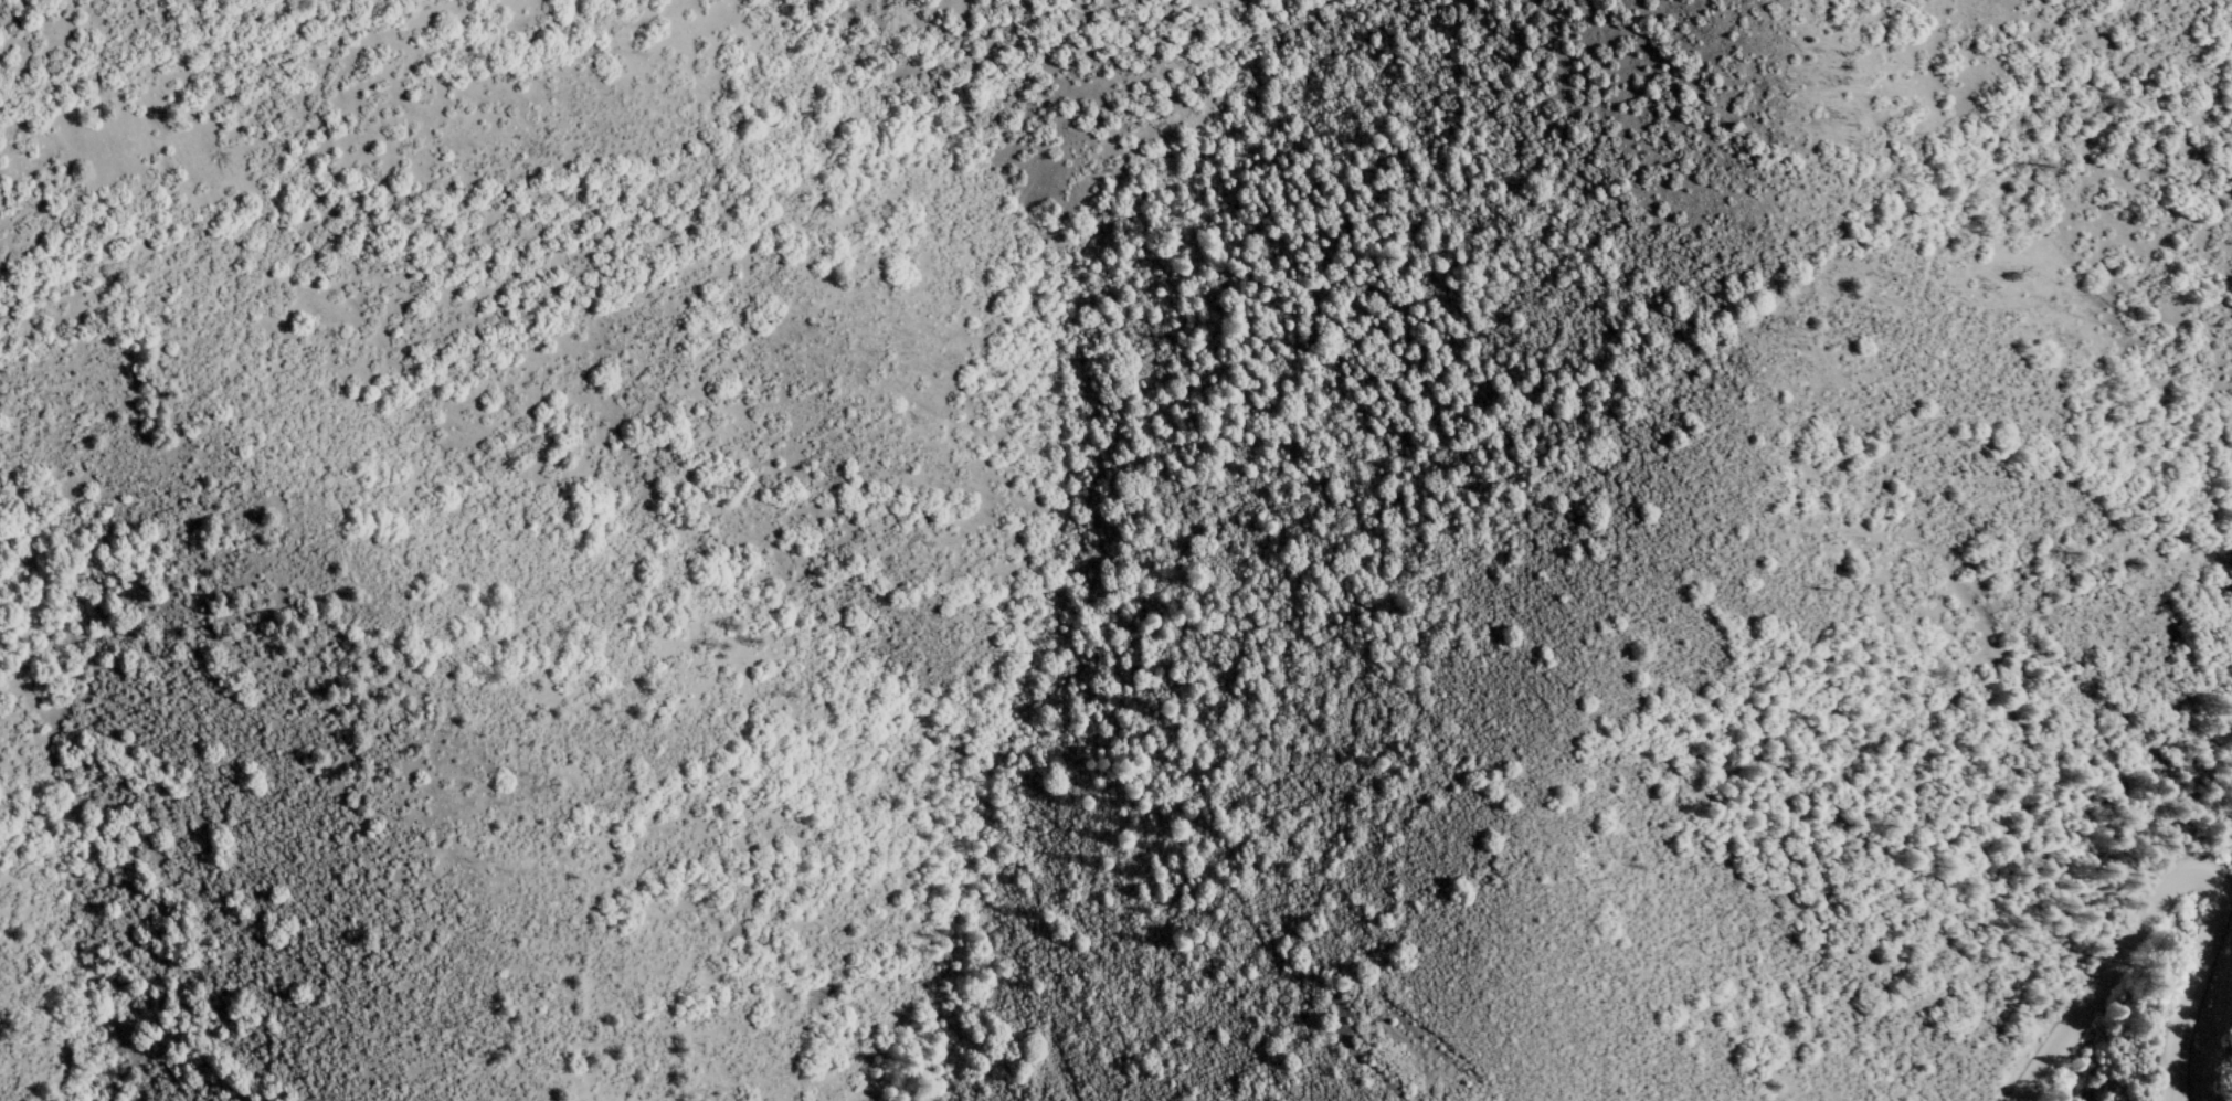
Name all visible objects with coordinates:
road: (2172, 889)

